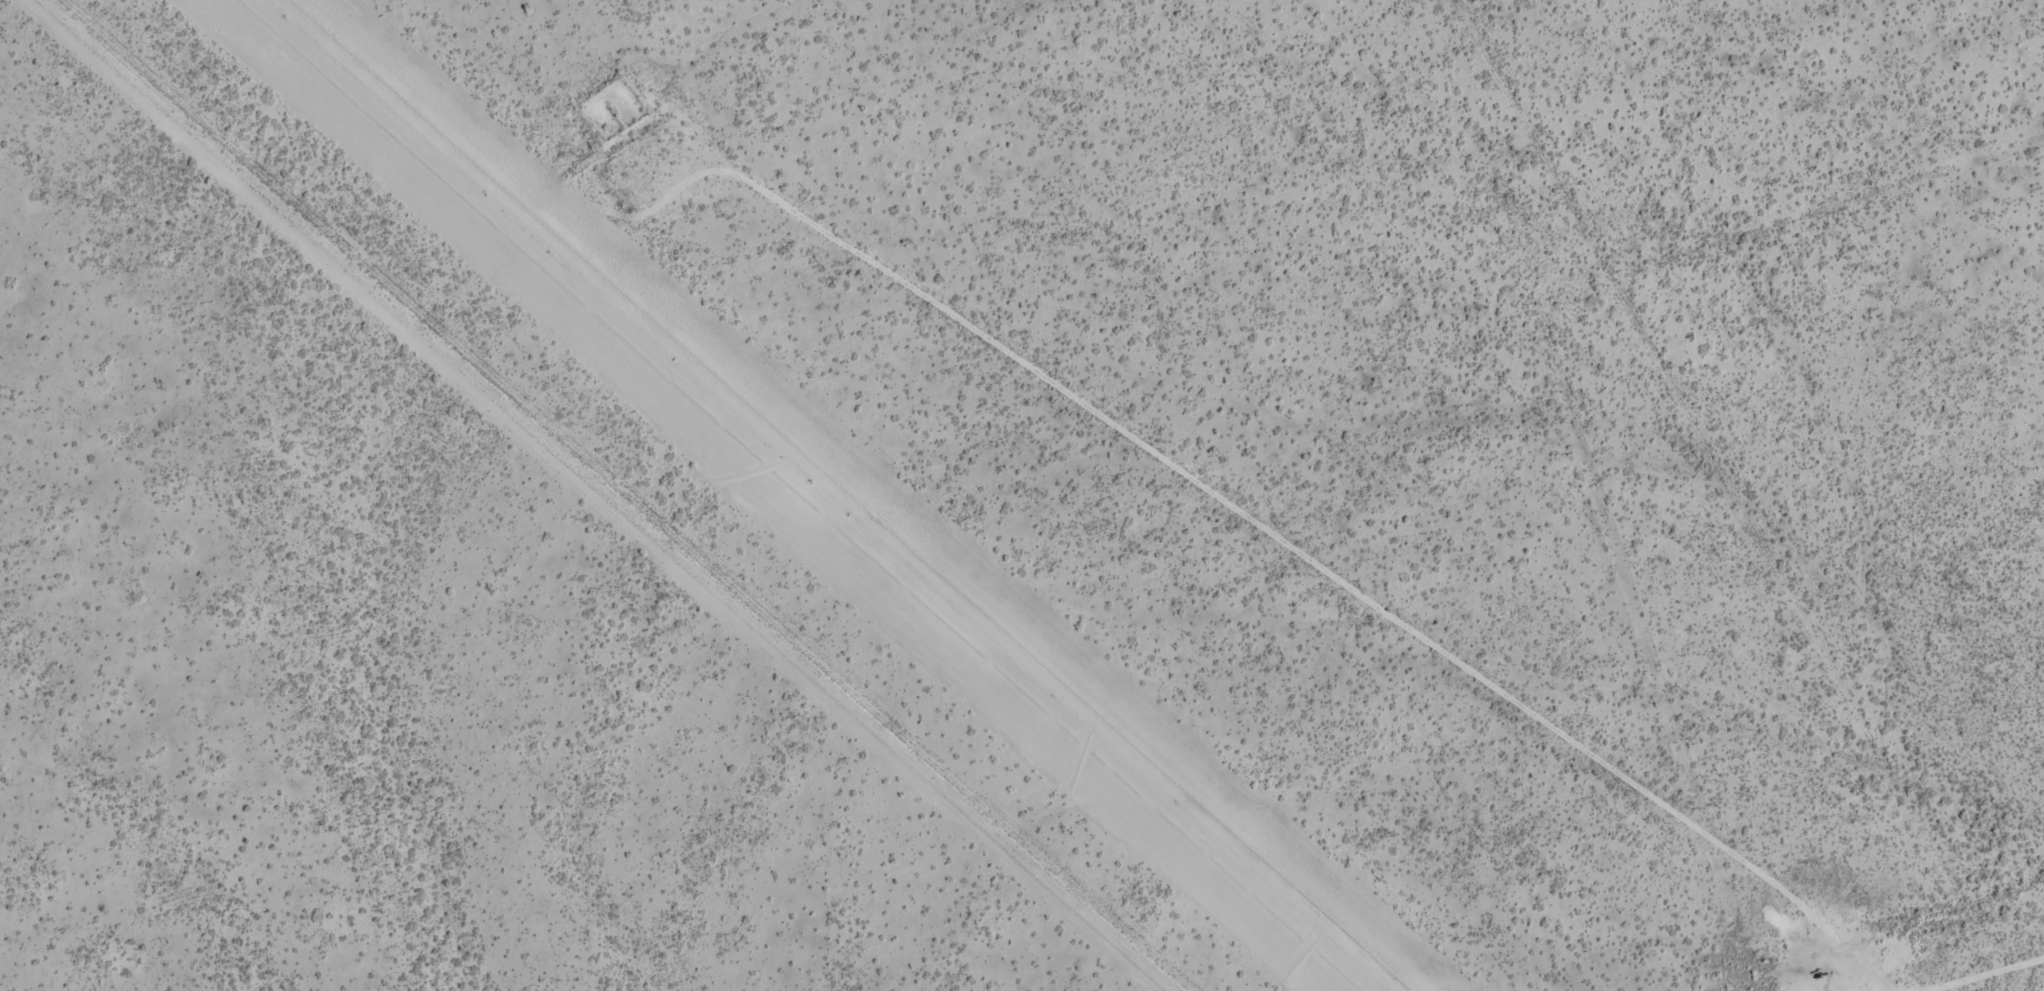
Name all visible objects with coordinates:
road: (1862, 227)

